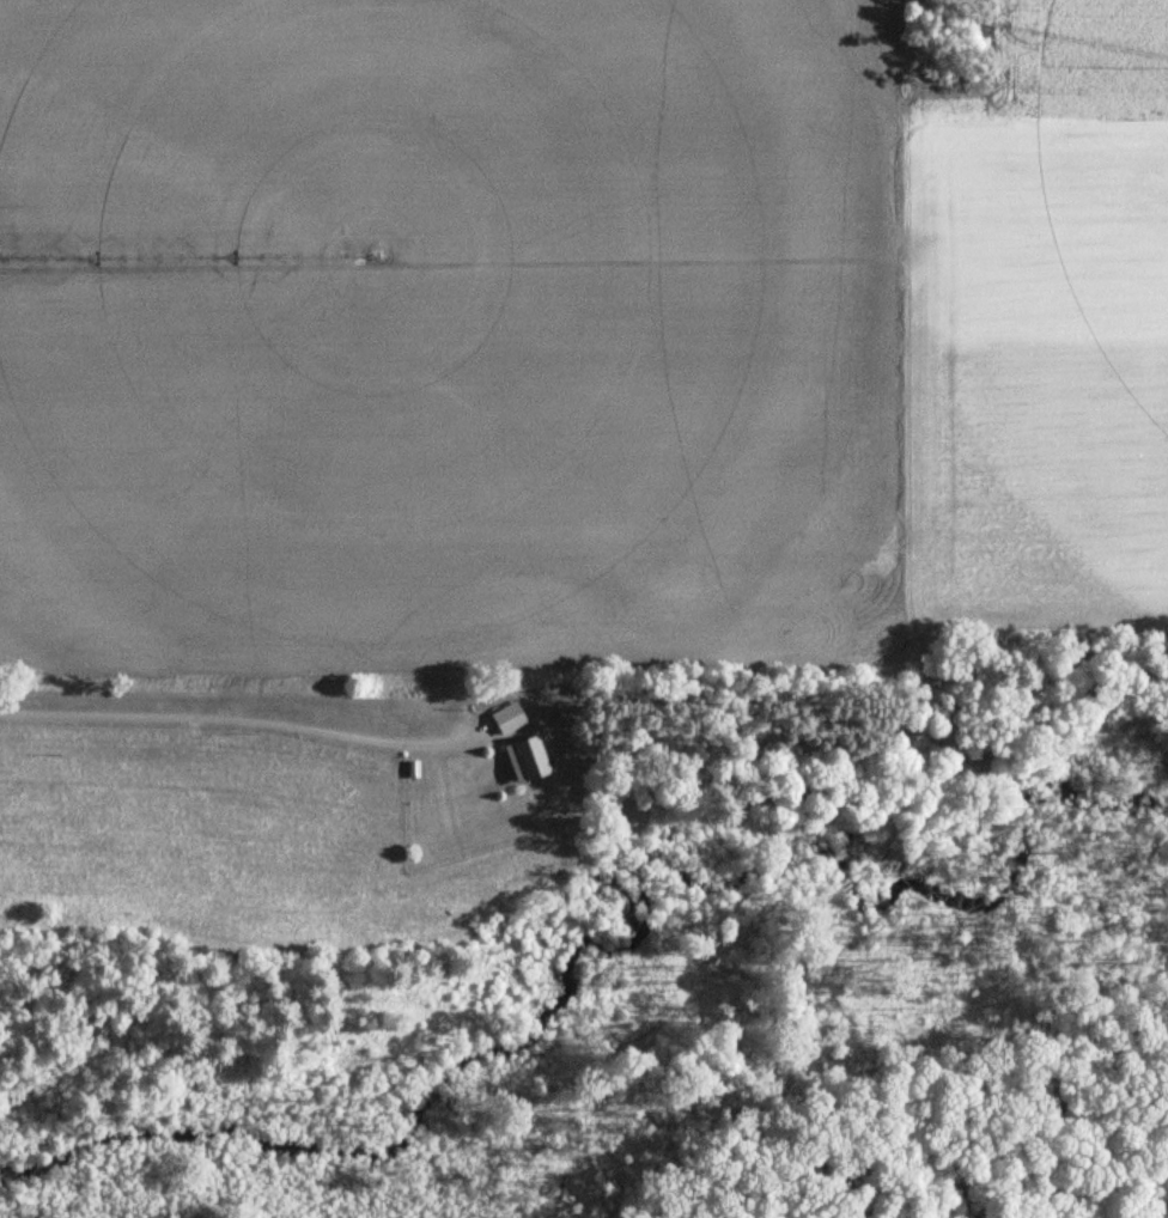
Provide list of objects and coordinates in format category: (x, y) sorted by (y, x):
road: (242, 712)
building: (512, 718)
building: (531, 761)

